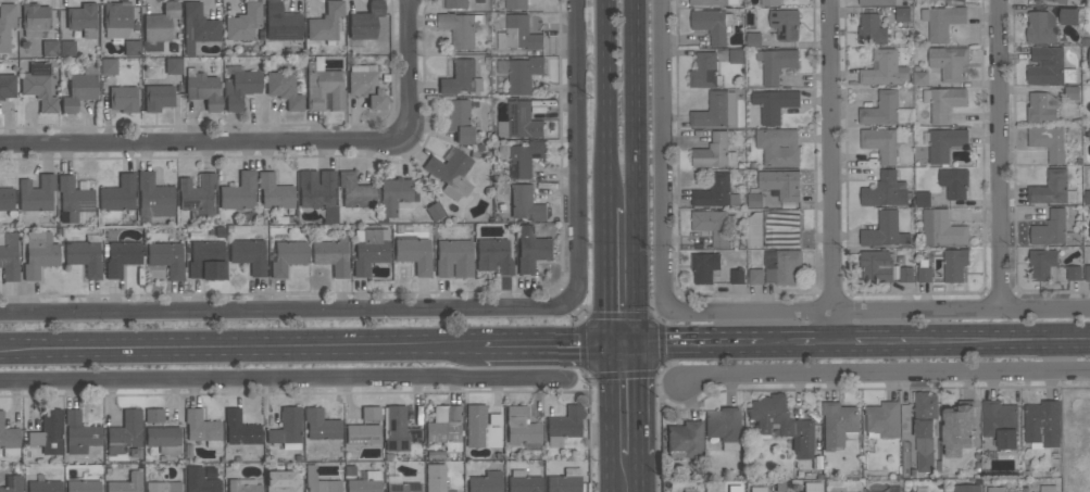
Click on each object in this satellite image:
building: (962, 0)
building: (877, 1)
building: (1060, 1)
building: (712, 2)
building: (770, 2)
building: (516, 3)
building: (456, 4)
building: (903, 13)
building: (1069, 15)
building: (83, 20)
building: (35, 21)
building: (116, 21)
building: (942, 21)
building: (365, 22)
building: (243, 23)
building: (281, 23)
building: (325, 23)
building: (713, 24)
building: (786, 24)
building: (5, 25)
road: (405, 26)
building: (1041, 26)
building: (159, 27)
building: (461, 27)
building: (197, 28)
building: (872, 29)
building: (518, 34)
building: (754, 39)
building: (49, 49)
building: (66, 49)
building: (131, 49)
building: (737, 55)
building: (1088, 56)
building: (949, 62)
building: (776, 63)
building: (108, 66)
building: (173, 66)
building: (1049, 66)
building: (885, 68)
building: (705, 71)
building: (522, 73)
building: (1089, 74)
building: (920, 77)
building: (461, 78)
building: (7, 87)
building: (39, 87)
building: (239, 87)
building: (365, 87)
building: (284, 89)
building: (324, 89)
building: (79, 90)
building: (202, 90)
building: (1072, 92)
building: (158, 98)
building: (123, 100)
building: (943, 101)
road: (603, 103)
building: (774, 104)
building: (1041, 108)
building: (716, 110)
building: (885, 110)
building: (458, 121)
building: (519, 121)
road: (248, 141)
building: (1049, 141)
building: (884, 142)
building: (944, 143)
road: (665, 147)
building: (779, 147)
building: (715, 152)
road: (1004, 152)
road: (577, 153)
building: (522, 156)
road: (635, 172)
road: (835, 172)
building: (451, 173)
building: (954, 182)
building: (781, 184)
building: (1051, 188)
building: (885, 190)
building: (355, 191)
building: (716, 191)
building: (239, 193)
building: (318, 193)
building: (37, 194)
building: (118, 194)
building: (273, 194)
building: (197, 197)
building: (396, 197)
building: (1087, 197)
building: (7, 199)
building: (153, 199)
building: (924, 199)
building: (74, 200)
building: (755, 200)
building: (526, 203)
building: (434, 212)
building: (712, 225)
building: (781, 228)
building: (941, 228)
building: (754, 229)
building: (1052, 229)
building: (885, 230)
building: (531, 249)
building: (369, 250)
building: (39, 254)
building: (413, 254)
building: (85, 255)
building: (249, 255)
building: (331, 255)
building: (493, 256)
building: (9, 257)
building: (122, 257)
building: (287, 257)
building: (453, 258)
building: (167, 260)
building: (206, 261)
building: (954, 264)
building: (1043, 264)
building: (781, 265)
building: (704, 266)
building: (876, 266)
building: (1074, 273)
building: (1088, 273)
building: (906, 274)
road: (604, 275)
building: (925, 275)
building: (738, 276)
building: (756, 276)
road: (877, 305)
road: (285, 312)
road: (542, 343)
traffic signals: (605, 343)
traffic signals: (637, 344)
road: (682, 344)
road: (963, 344)
road: (778, 345)
road: (815, 345)
road: (240, 348)
road: (888, 375)
road: (284, 379)
road: (638, 400)
building: (369, 414)
building: (153, 416)
road: (605, 417)
building: (882, 420)
building: (1000, 422)
building: (782, 424)
building: (1042, 424)
building: (320, 425)
building: (838, 425)
building: (564, 426)
building: (444, 427)
building: (521, 427)
building: (723, 427)
building: (202, 428)
building: (481, 428)
building: (959, 428)
building: (240, 429)
building: (287, 429)
building: (925, 429)
building: (397, 430)
building: (48, 433)
building: (79, 433)
building: (125, 433)
building: (362, 434)
building: (9, 440)
building: (163, 440)
building: (684, 441)
road: (639, 474)
building: (435, 478)
building: (200, 481)
building: (565, 481)
building: (281, 482)
building: (318, 482)
building: (365, 482)
building: (485, 482)
building: (523, 482)
building: (12, 483)
building: (126, 483)
building: (43, 484)
building: (243, 485)
building: (400, 485)
building: (83, 487)
building: (163, 487)
building: (812, 488)
building: (967, 488)
building: (1048, 488)
building: (734, 489)
building: (995, 489)
building: (691, 490)
building: (756, 490)

